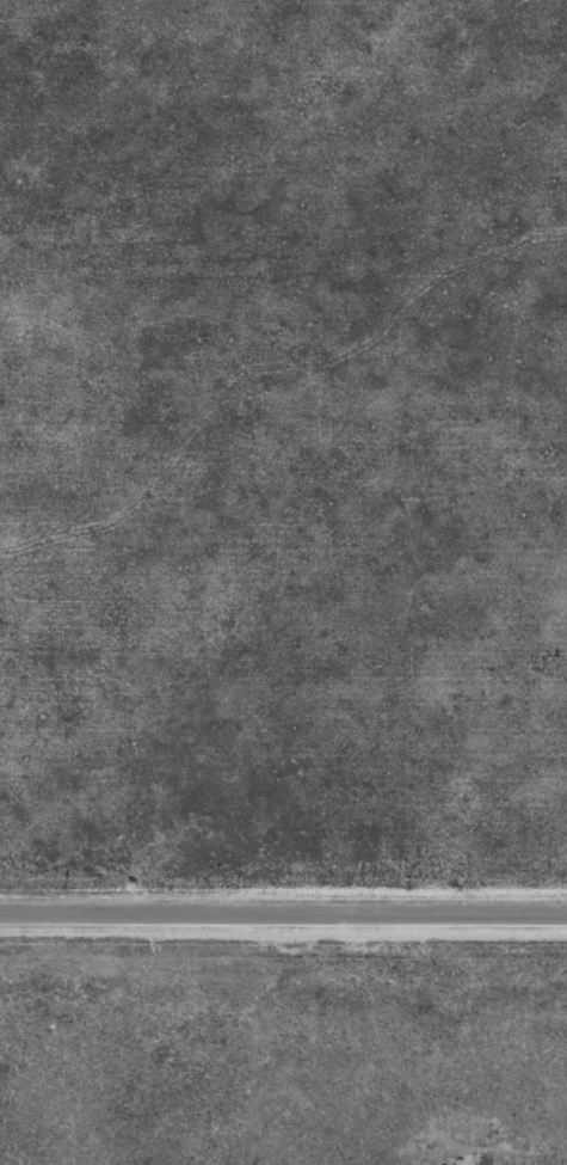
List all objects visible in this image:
road: (283, 888)

